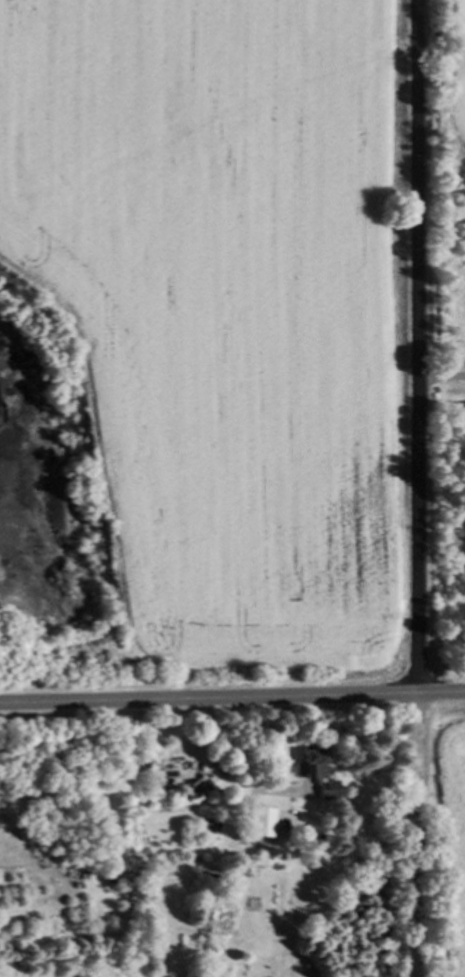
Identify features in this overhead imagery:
road: (422, 488)
road: (232, 699)
building: (319, 773)
building: (265, 823)

